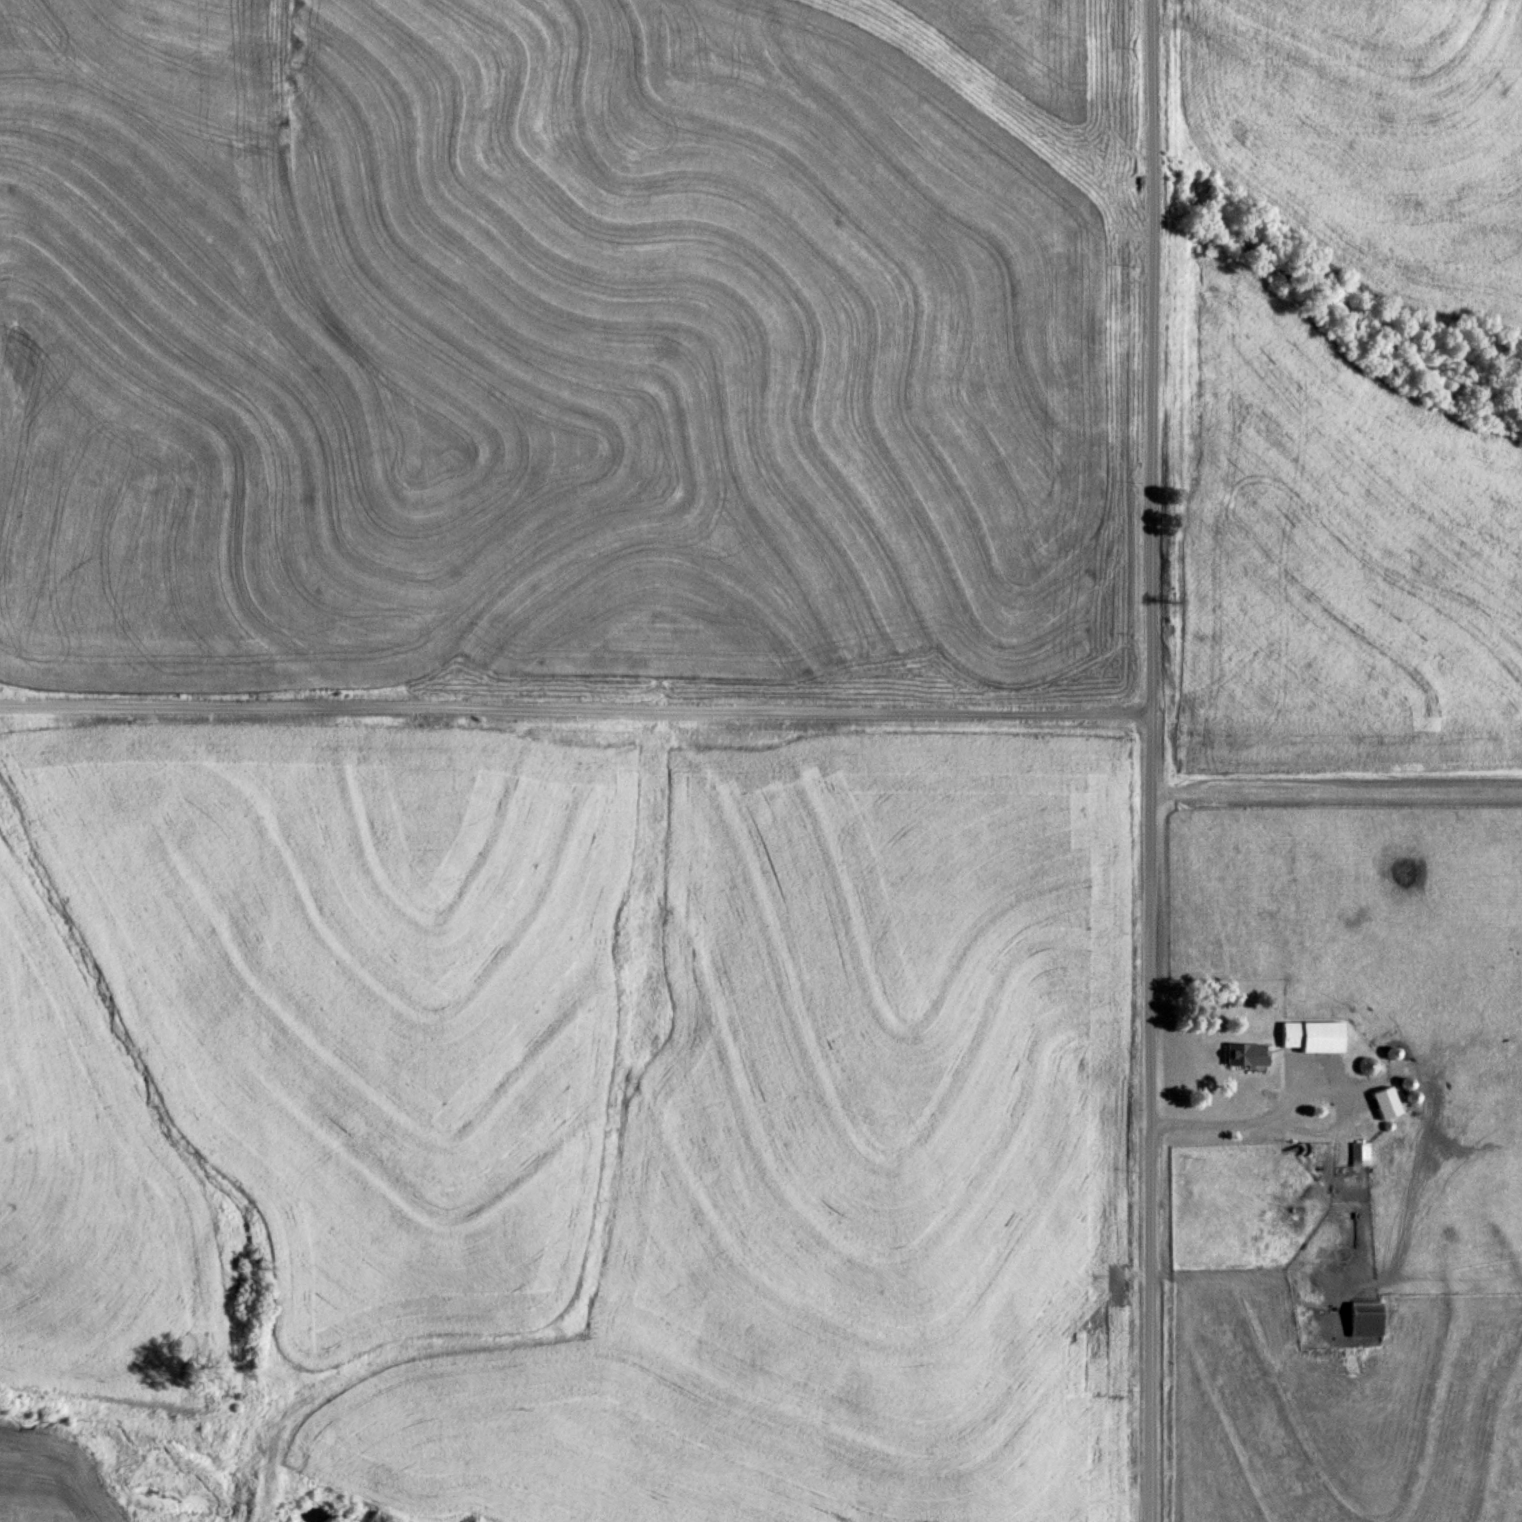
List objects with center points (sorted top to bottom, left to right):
road: (576, 707)
road: (1152, 760)
building: (1309, 1035)
building: (1243, 1054)
building: (1365, 1065)
building: (1406, 1097)
building: (1382, 1102)
building: (1357, 1152)
building: (1361, 1318)

